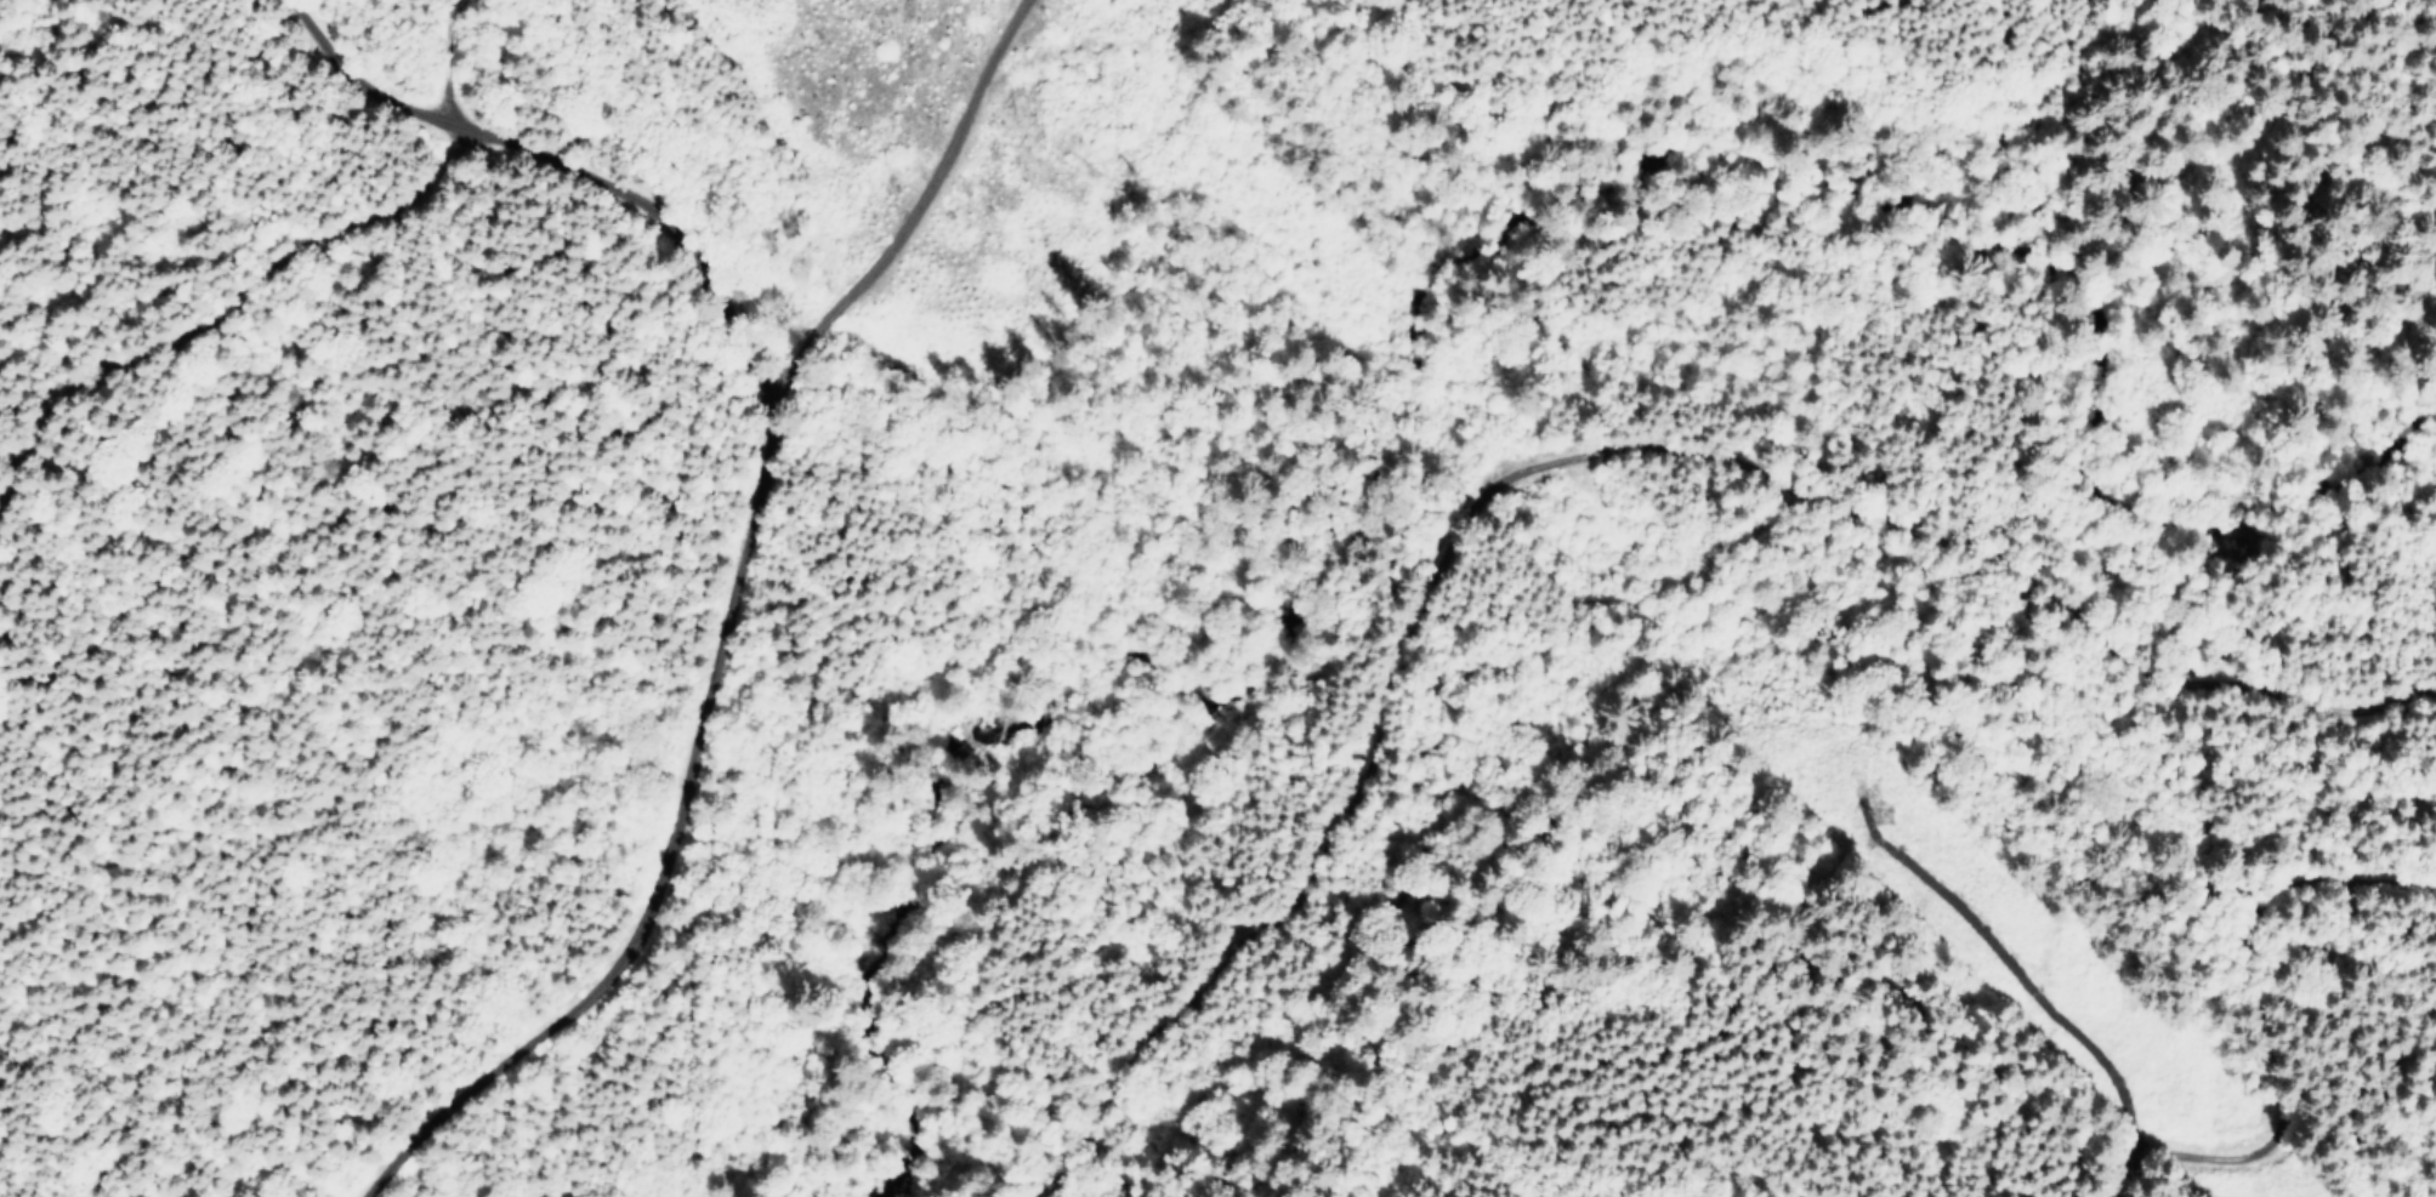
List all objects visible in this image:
road: (568, 160)
road: (1557, 461)
road: (732, 625)
power tower: (1872, 828)
road: (2248, 999)
road: (2128, 1186)

